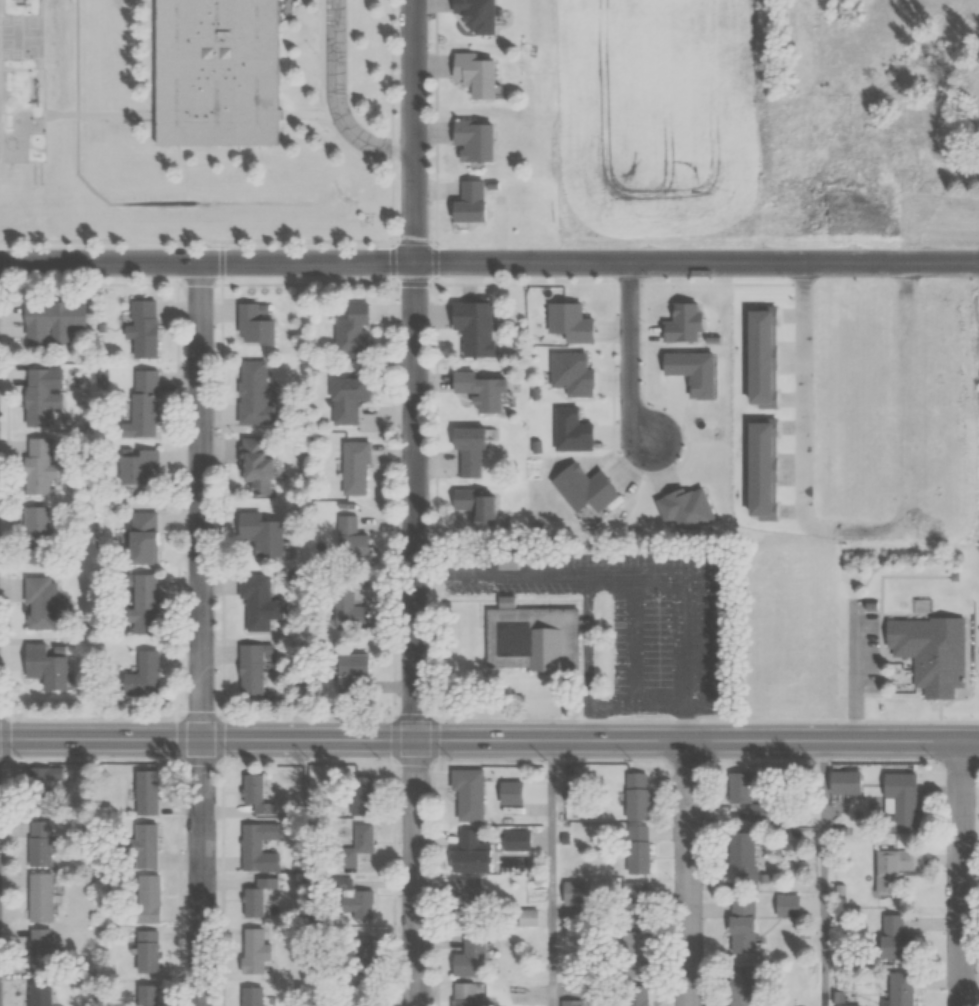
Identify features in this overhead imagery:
building: (474, 15)
park: (24, 36)
road: (391, 68)
building: (212, 72)
building: (472, 75)
road: (336, 101)
building: (926, 107)
building: (874, 124)
building: (470, 140)
road: (393, 200)
building: (467, 202)
road: (197, 241)
road: (393, 244)
road: (264, 261)
road: (753, 263)
building: (51, 322)
building: (253, 323)
building: (141, 328)
building: (470, 328)
building: (350, 331)
road: (633, 349)
building: (477, 391)
building: (253, 394)
building: (39, 397)
road: (802, 397)
building: (345, 399)
building: (142, 405)
building: (466, 450)
building: (39, 465)
building: (254, 465)
building: (138, 467)
building: (353, 468)
road: (392, 497)
road: (416, 502)
building: (471, 507)
building: (346, 534)
building: (36, 535)
building: (259, 535)
building: (141, 539)
park: (659, 568)
road: (633, 578)
building: (255, 602)
building: (40, 603)
building: (144, 604)
building: (347, 610)
road: (203, 633)
building: (528, 638)
building: (929, 651)
building: (42, 667)
building: (250, 669)
building: (349, 670)
road: (845, 671)
building: (141, 676)
road: (102, 718)
road: (299, 719)
road: (707, 720)
road: (437, 728)
road: (101, 739)
road: (591, 740)
street lamp: (936, 758)
building: (46, 781)
building: (838, 781)
building: (737, 787)
building: (145, 792)
building: (253, 793)
building: (465, 793)
building: (361, 795)
building: (635, 796)
building: (896, 802)
building: (514, 840)
building: (38, 843)
building: (254, 843)
building: (143, 845)
building: (354, 846)
building: (637, 849)
building: (469, 853)
building: (741, 856)
building: (889, 868)
road: (552, 873)
road: (689, 873)
road: (824, 873)
road: (961, 873)
building: (38, 897)
building: (255, 897)
building: (145, 898)
building: (352, 899)
building: (635, 899)
building: (465, 902)
building: (786, 905)
building: (526, 917)
building: (740, 925)
building: (893, 937)
building: (38, 949)
building: (144, 951)
building: (252, 951)
building: (361, 954)
building: (634, 954)
building: (468, 956)
building: (740, 985)
building: (898, 989)
building: (40, 994)
building: (468, 994)
building: (144, 995)
building: (635, 995)
building: (250, 996)
building: (570, 1003)

